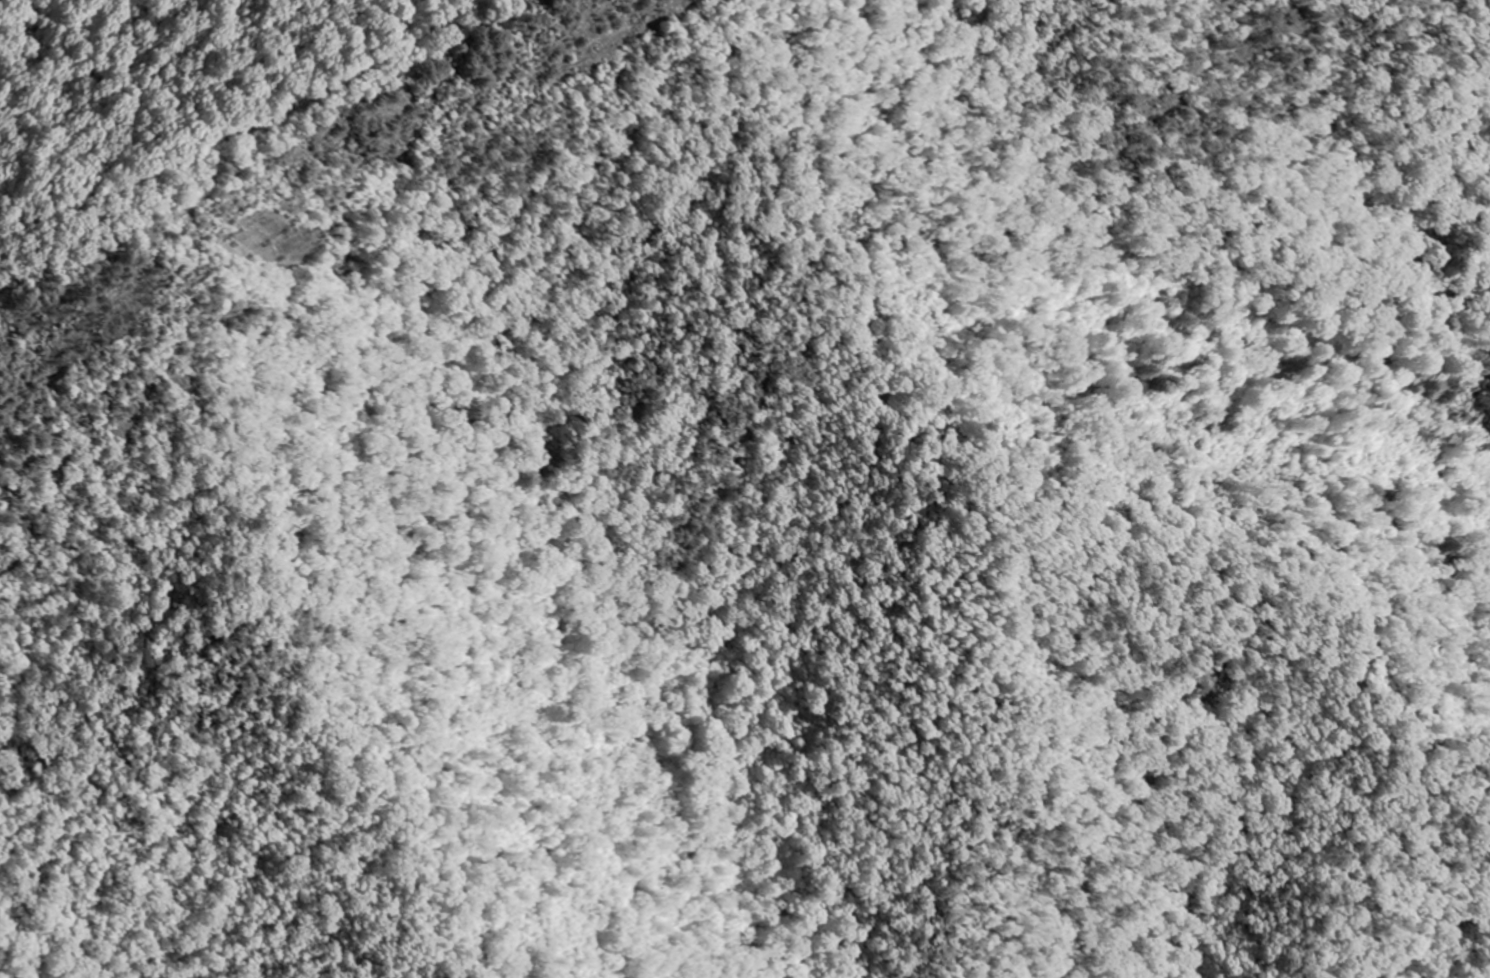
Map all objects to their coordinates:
power tower: (131, 321)

